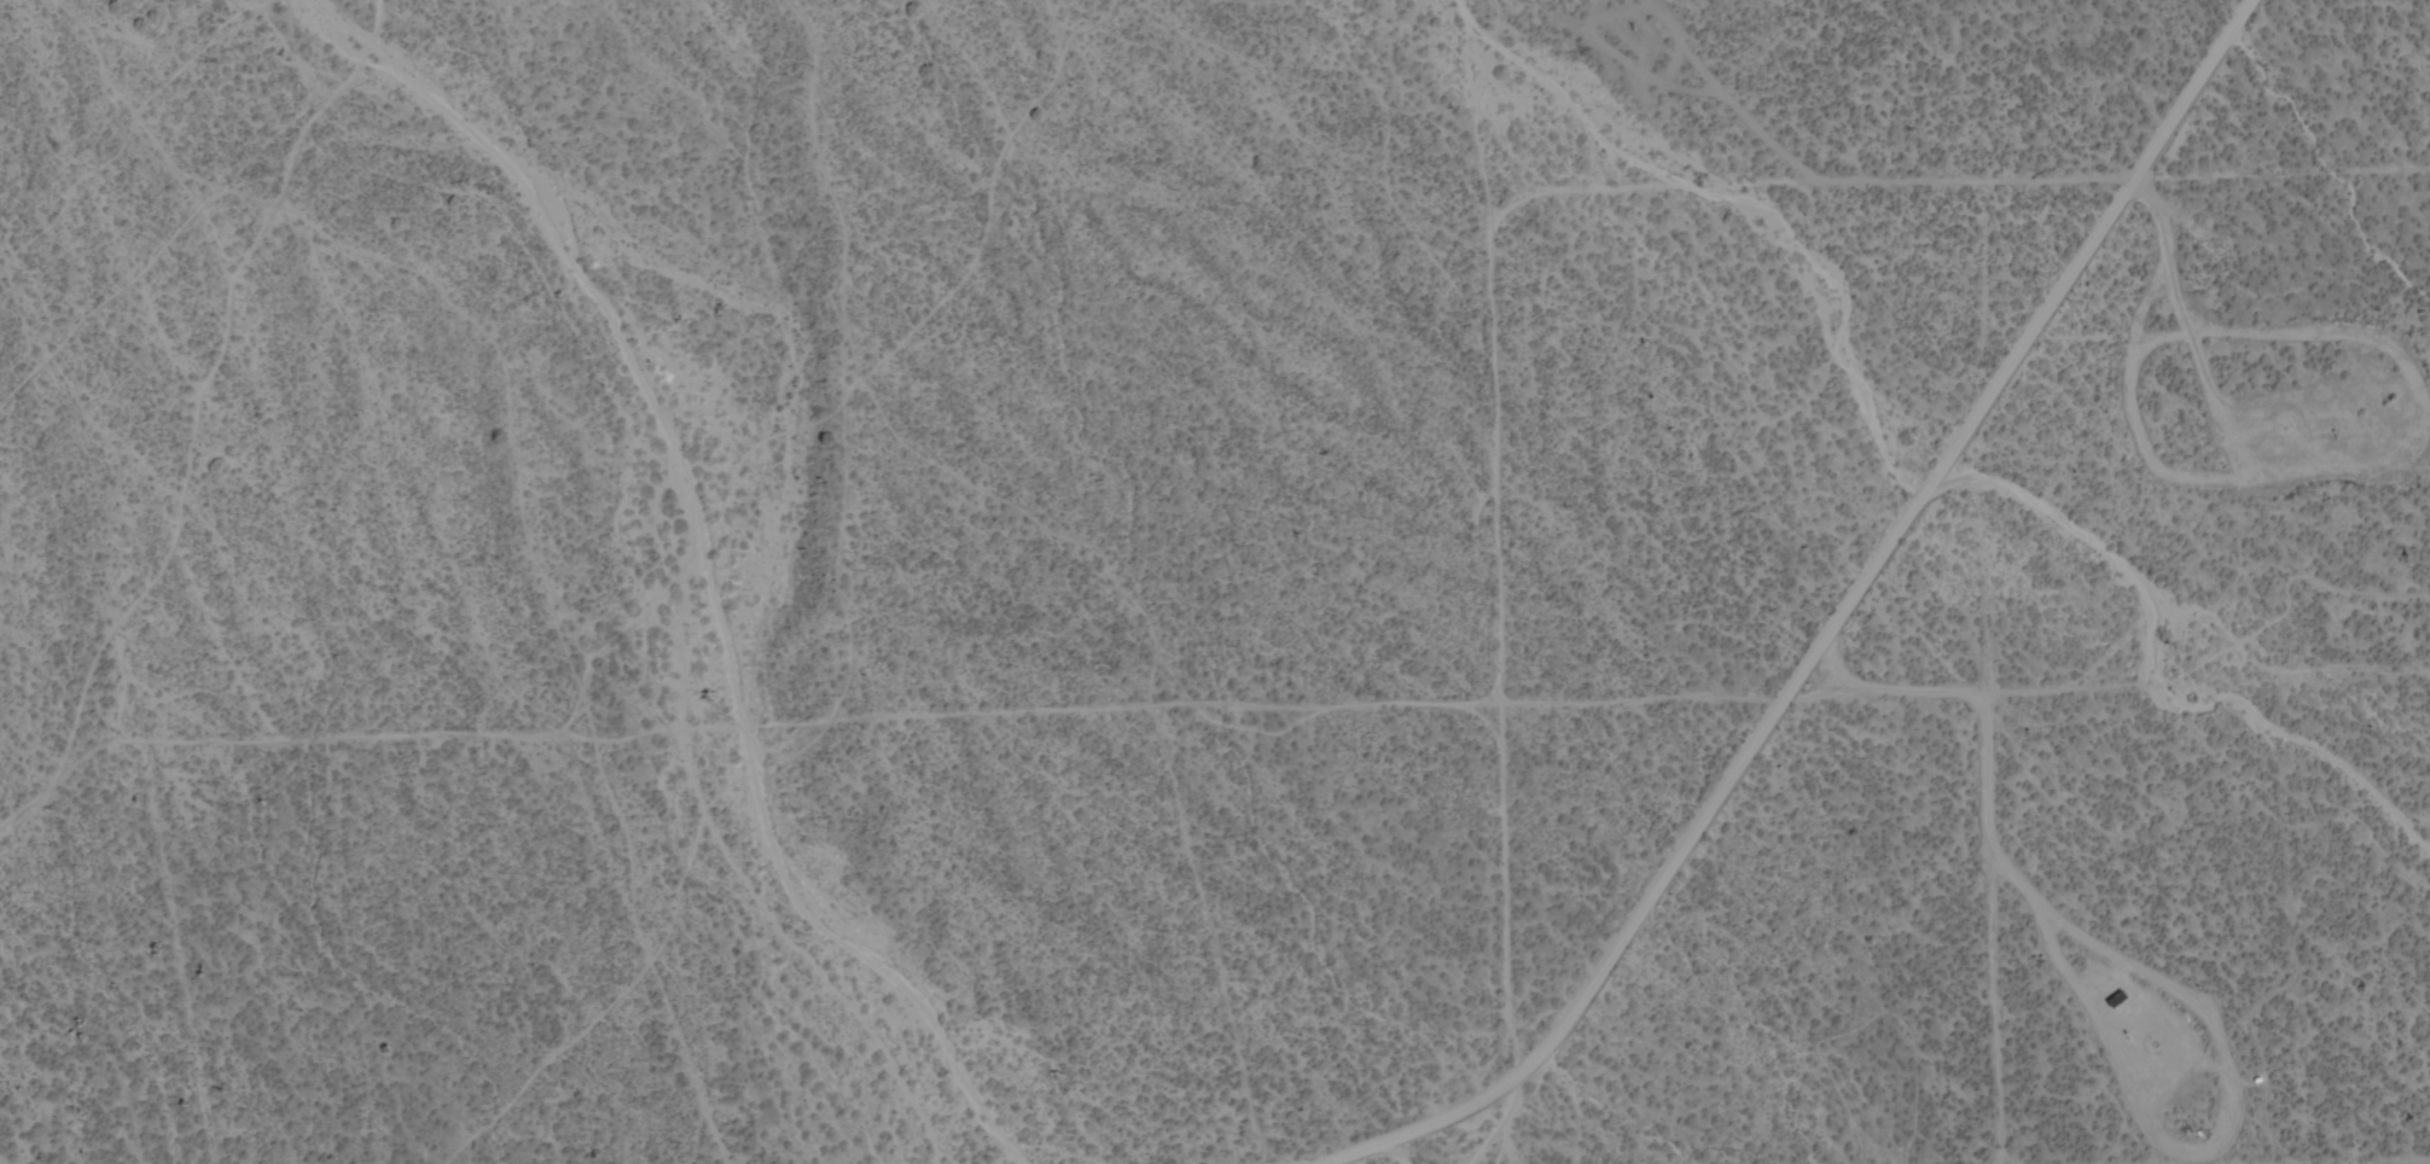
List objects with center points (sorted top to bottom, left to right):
road: (1824, 629)

